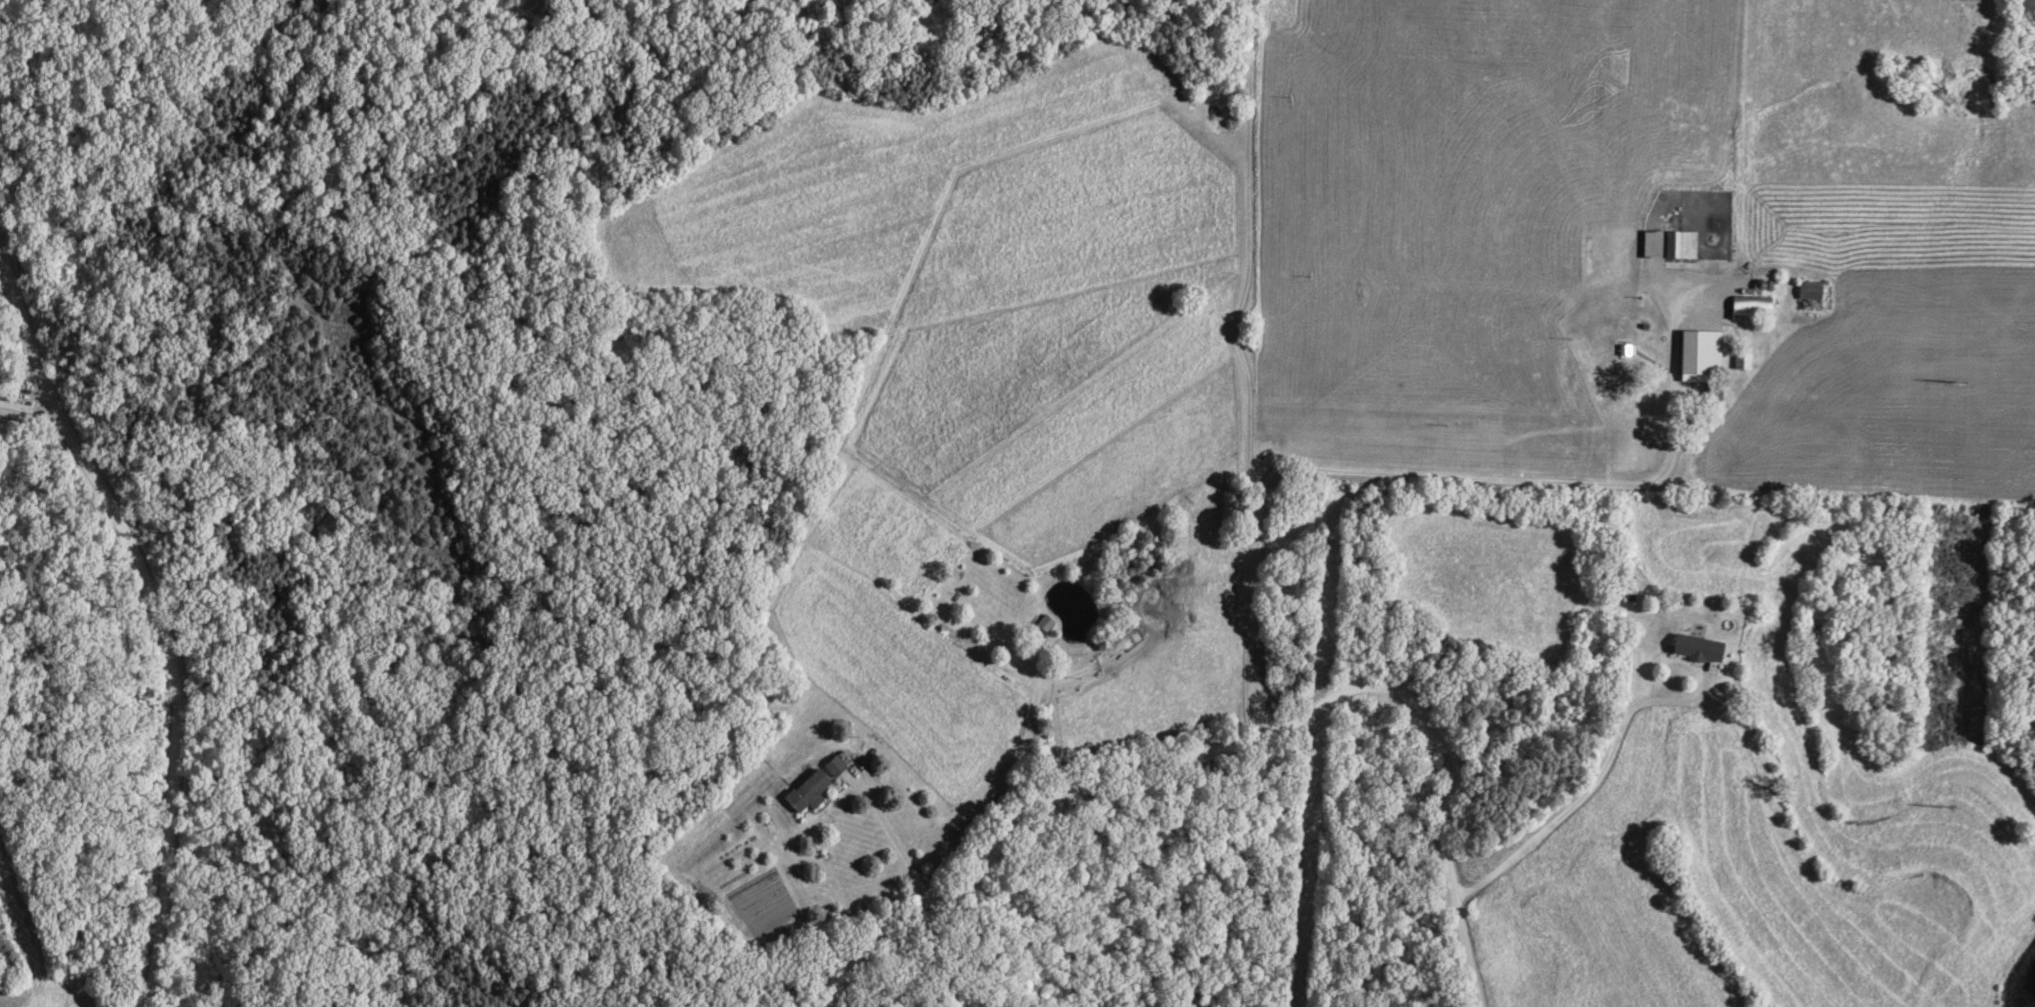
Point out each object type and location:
power tower: (1965, 4)
building: (1669, 247)
road: (3, 255)
building: (1751, 308)
building: (1700, 355)
building: (1742, 360)
road: (1247, 367)
power tower: (1961, 383)
building: (1713, 396)
building: (15, 413)
road: (1429, 480)
road: (155, 606)
building: (1698, 650)
road: (1240, 737)
building: (835, 769)
road: (1588, 791)
building: (807, 795)
power tower: (1947, 808)
road: (900, 851)

